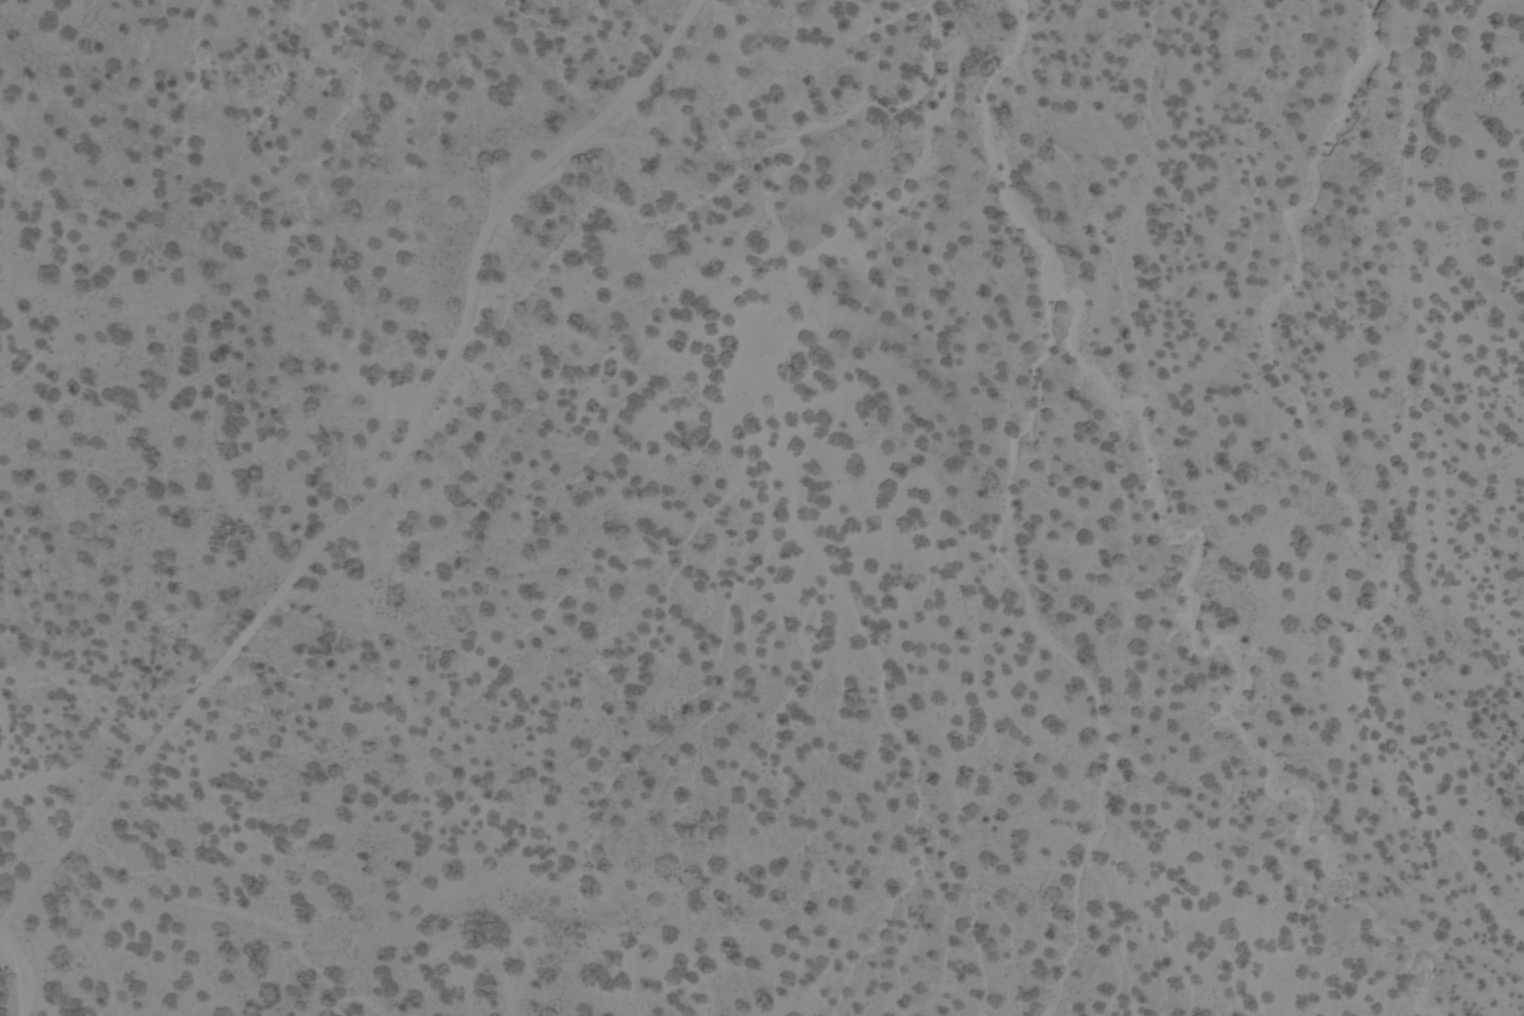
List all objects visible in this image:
road: (382, 473)

